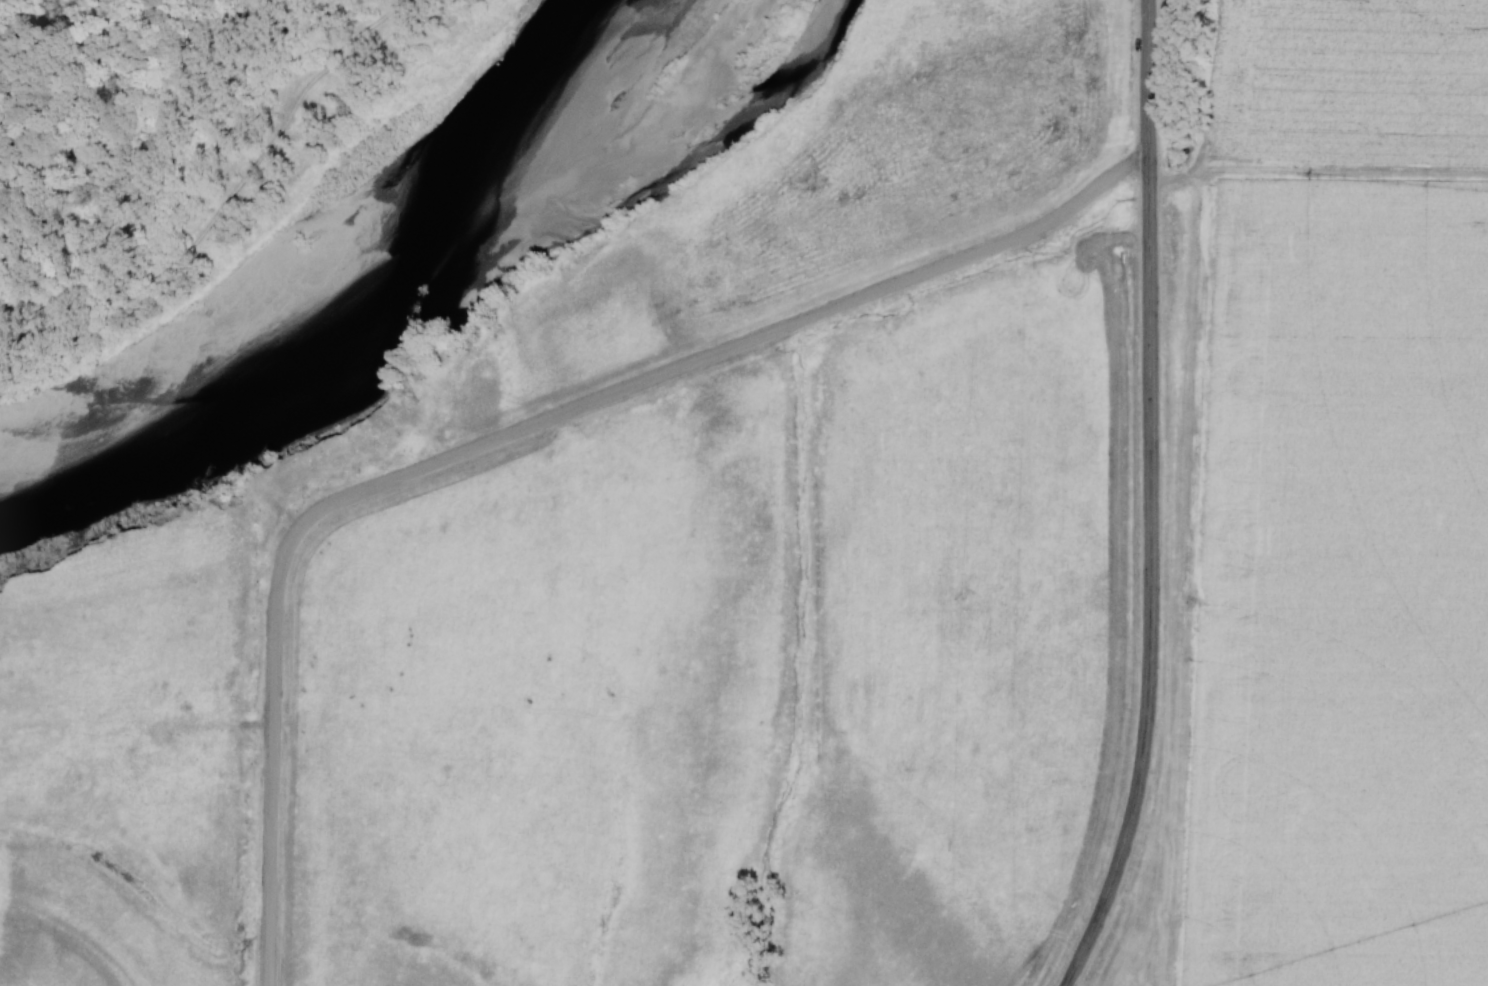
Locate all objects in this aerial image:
river: (383, 283)
road: (510, 430)
road: (1148, 499)

